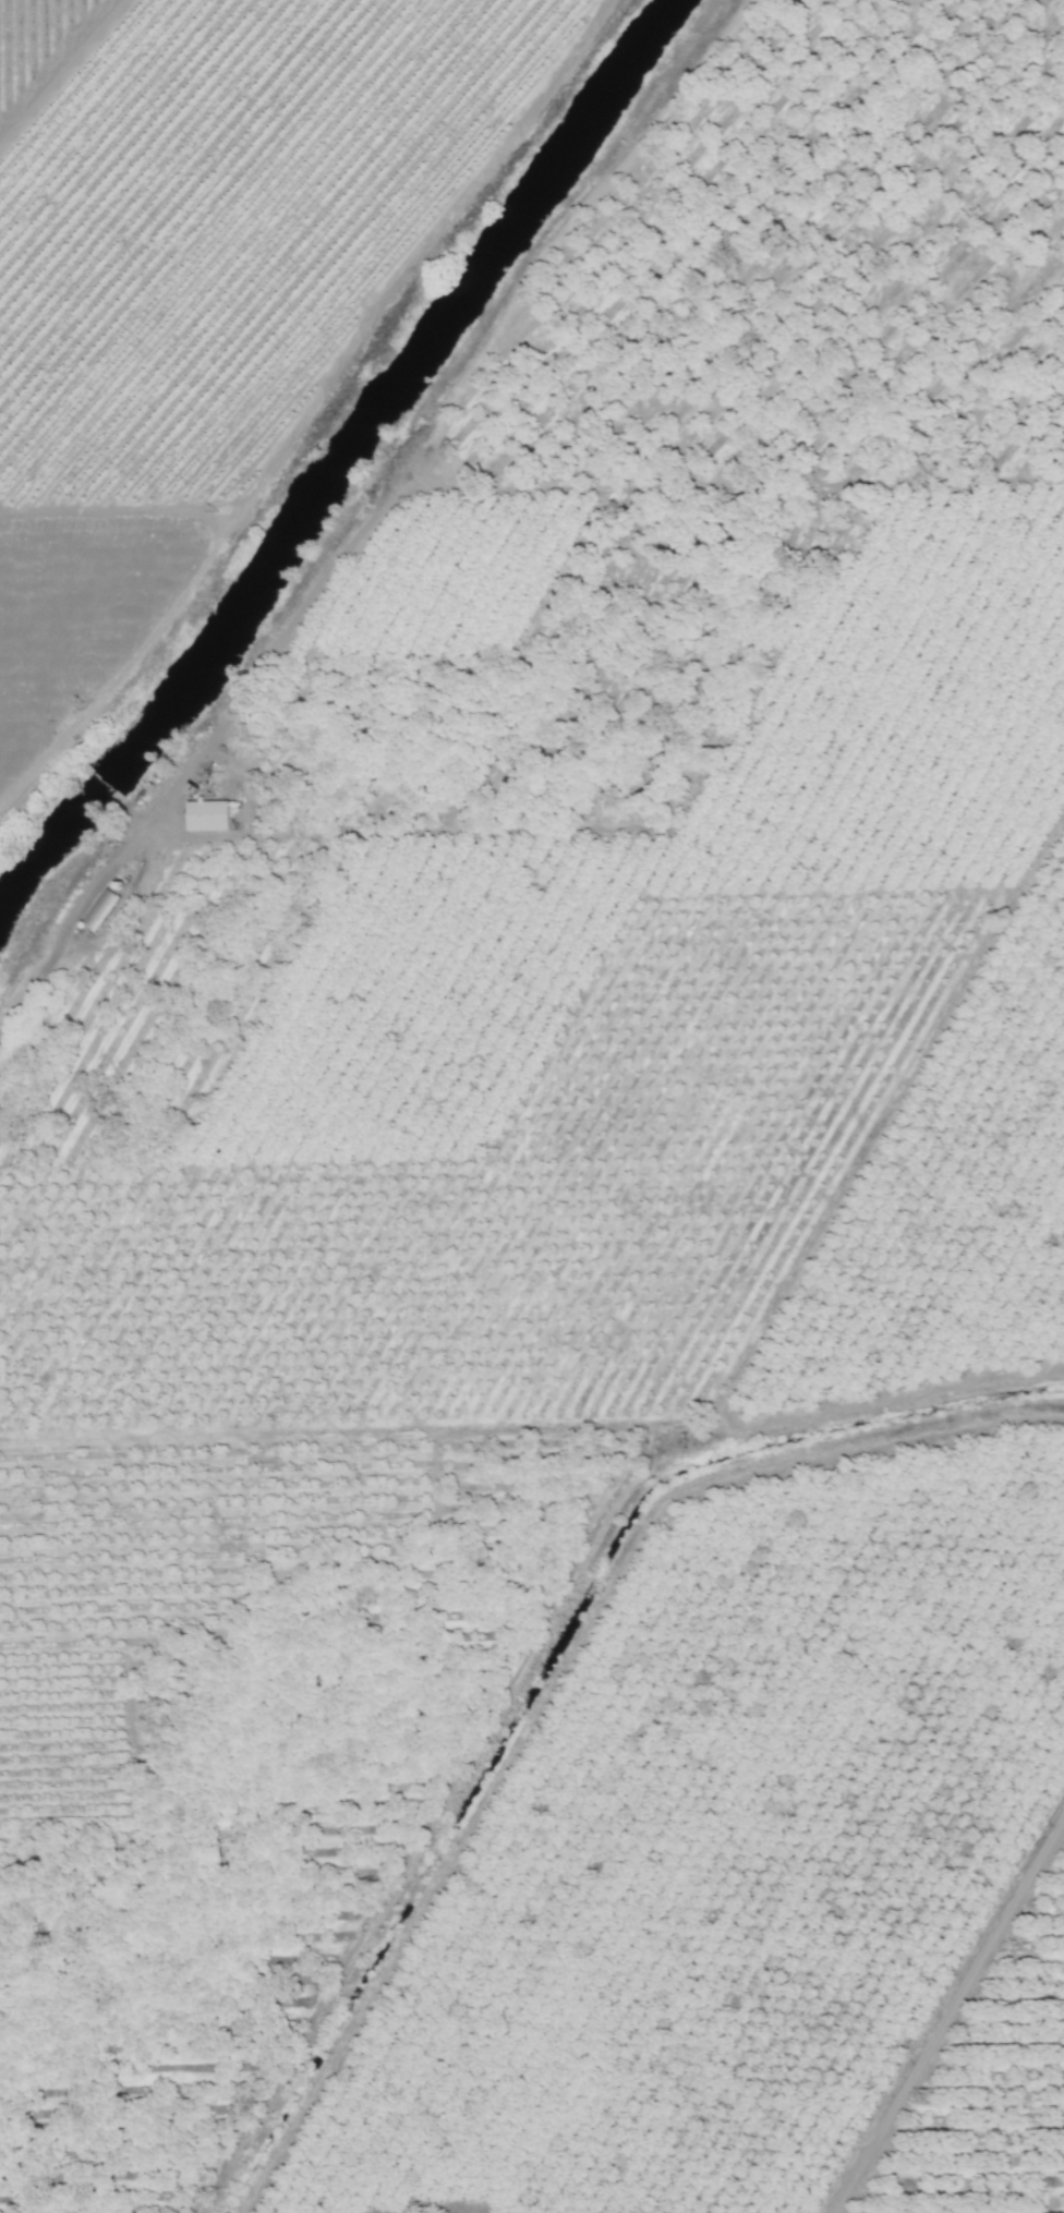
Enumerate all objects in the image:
building: (210, 814)
building: (99, 907)
road: (57, 942)

